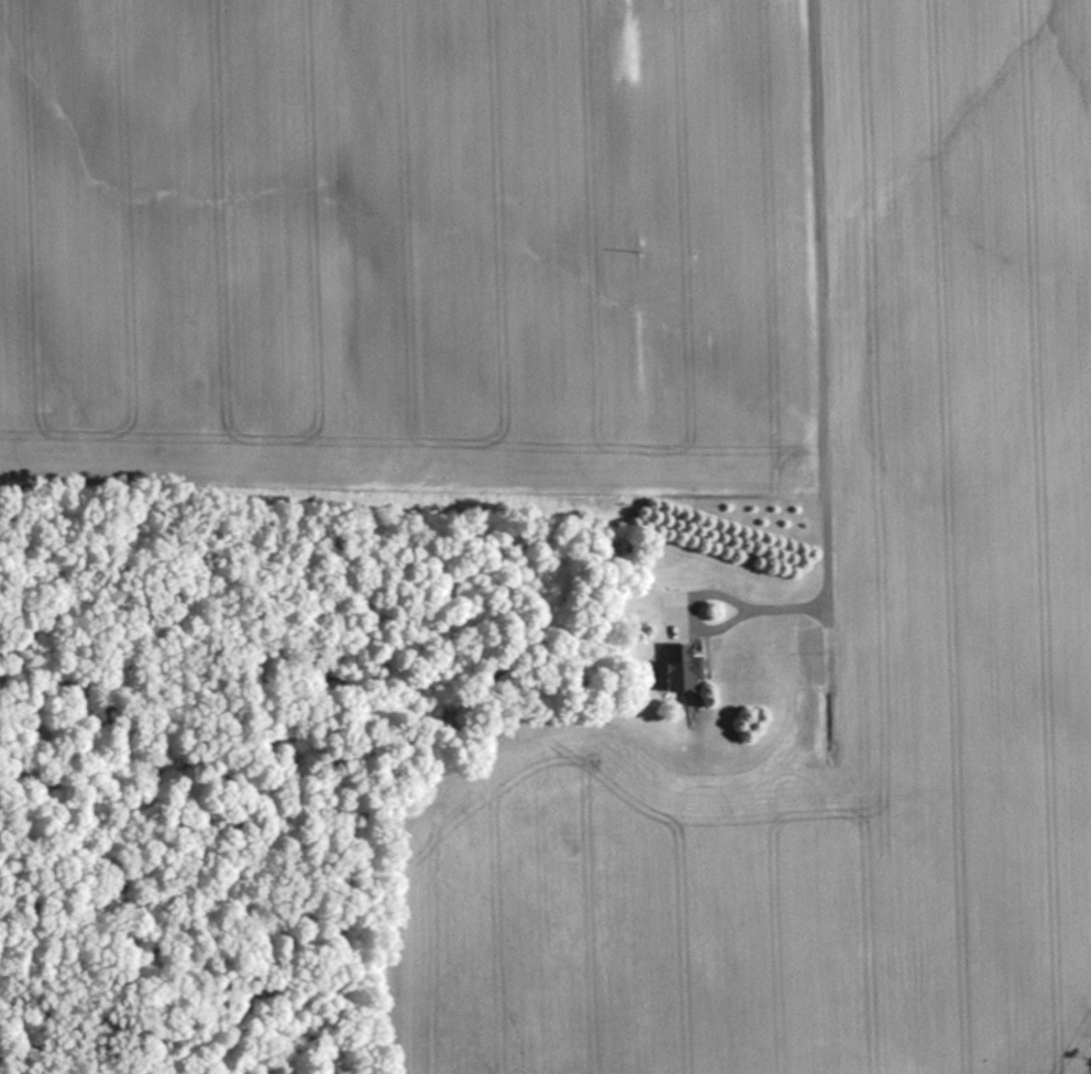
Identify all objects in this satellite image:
building: (677, 669)

